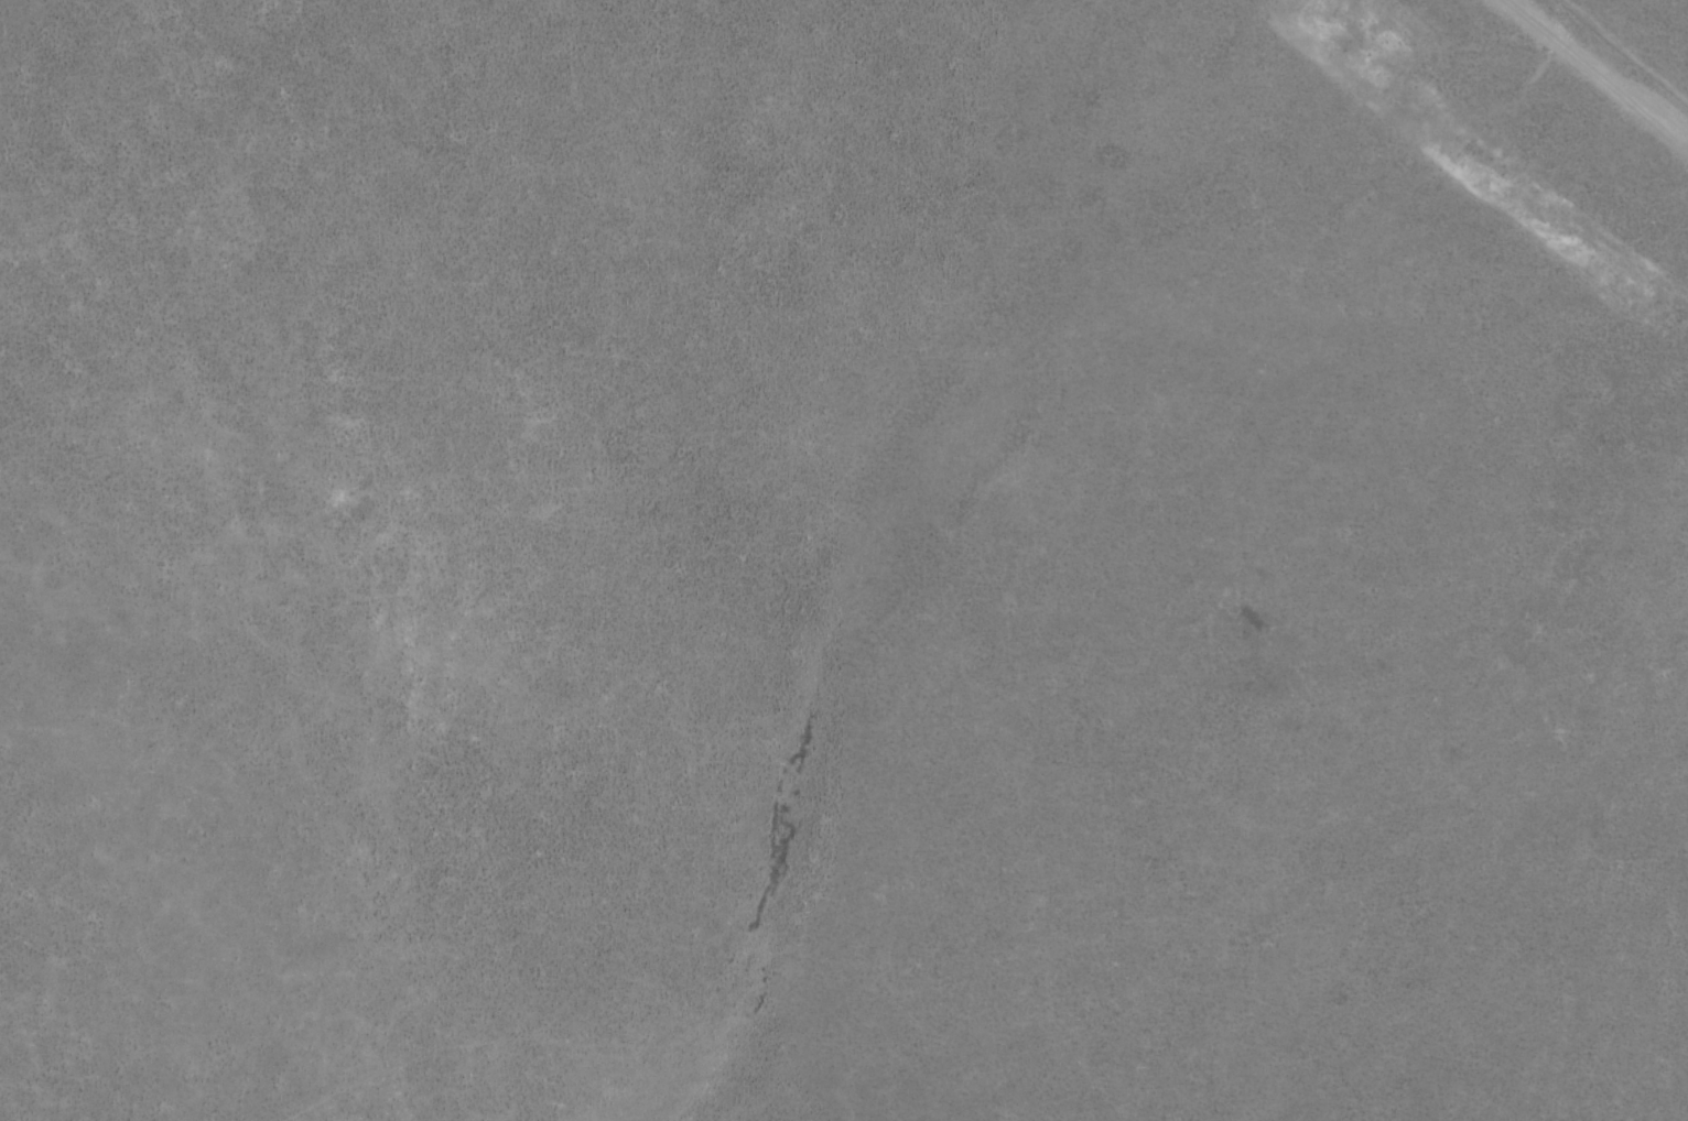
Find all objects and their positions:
road: (1601, 68)

